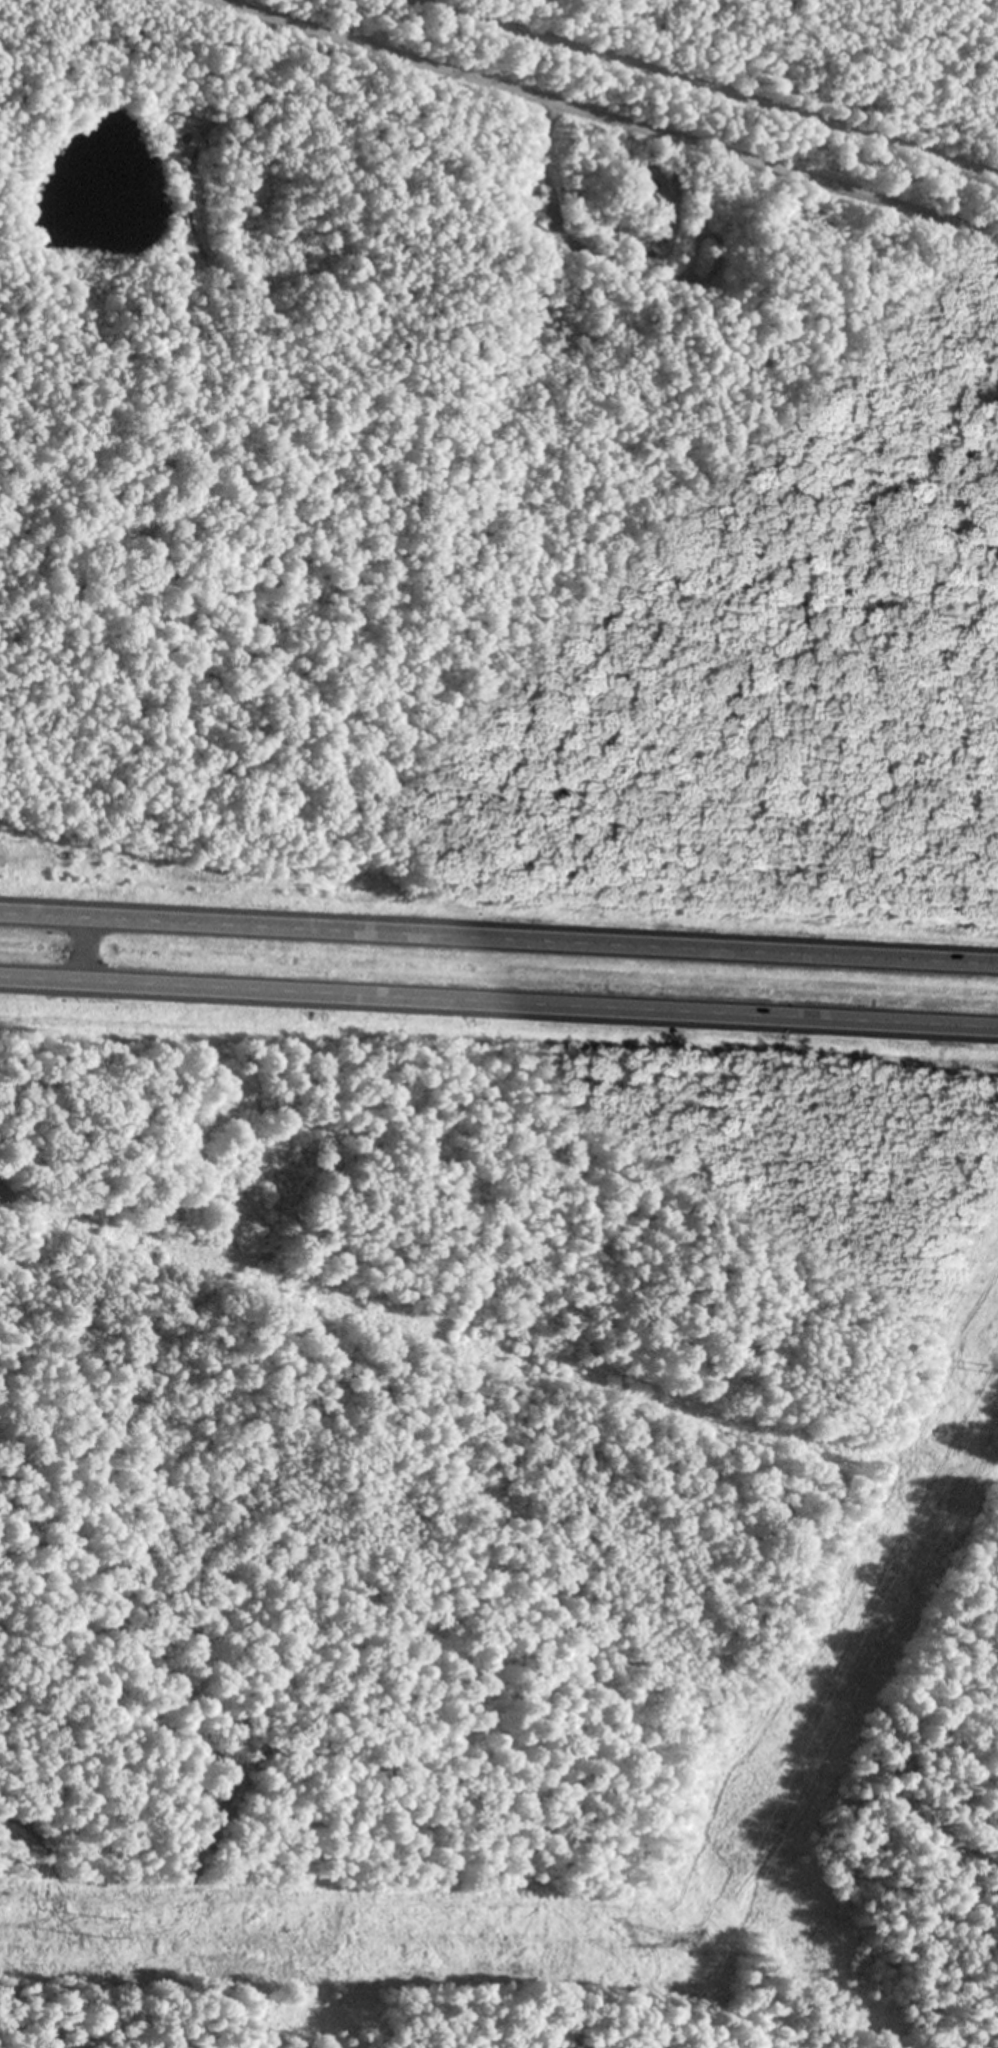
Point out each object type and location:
road: (701, 89)
road: (605, 117)
park: (357, 474)
road: (499, 936)
road: (81, 947)
road: (498, 1002)

